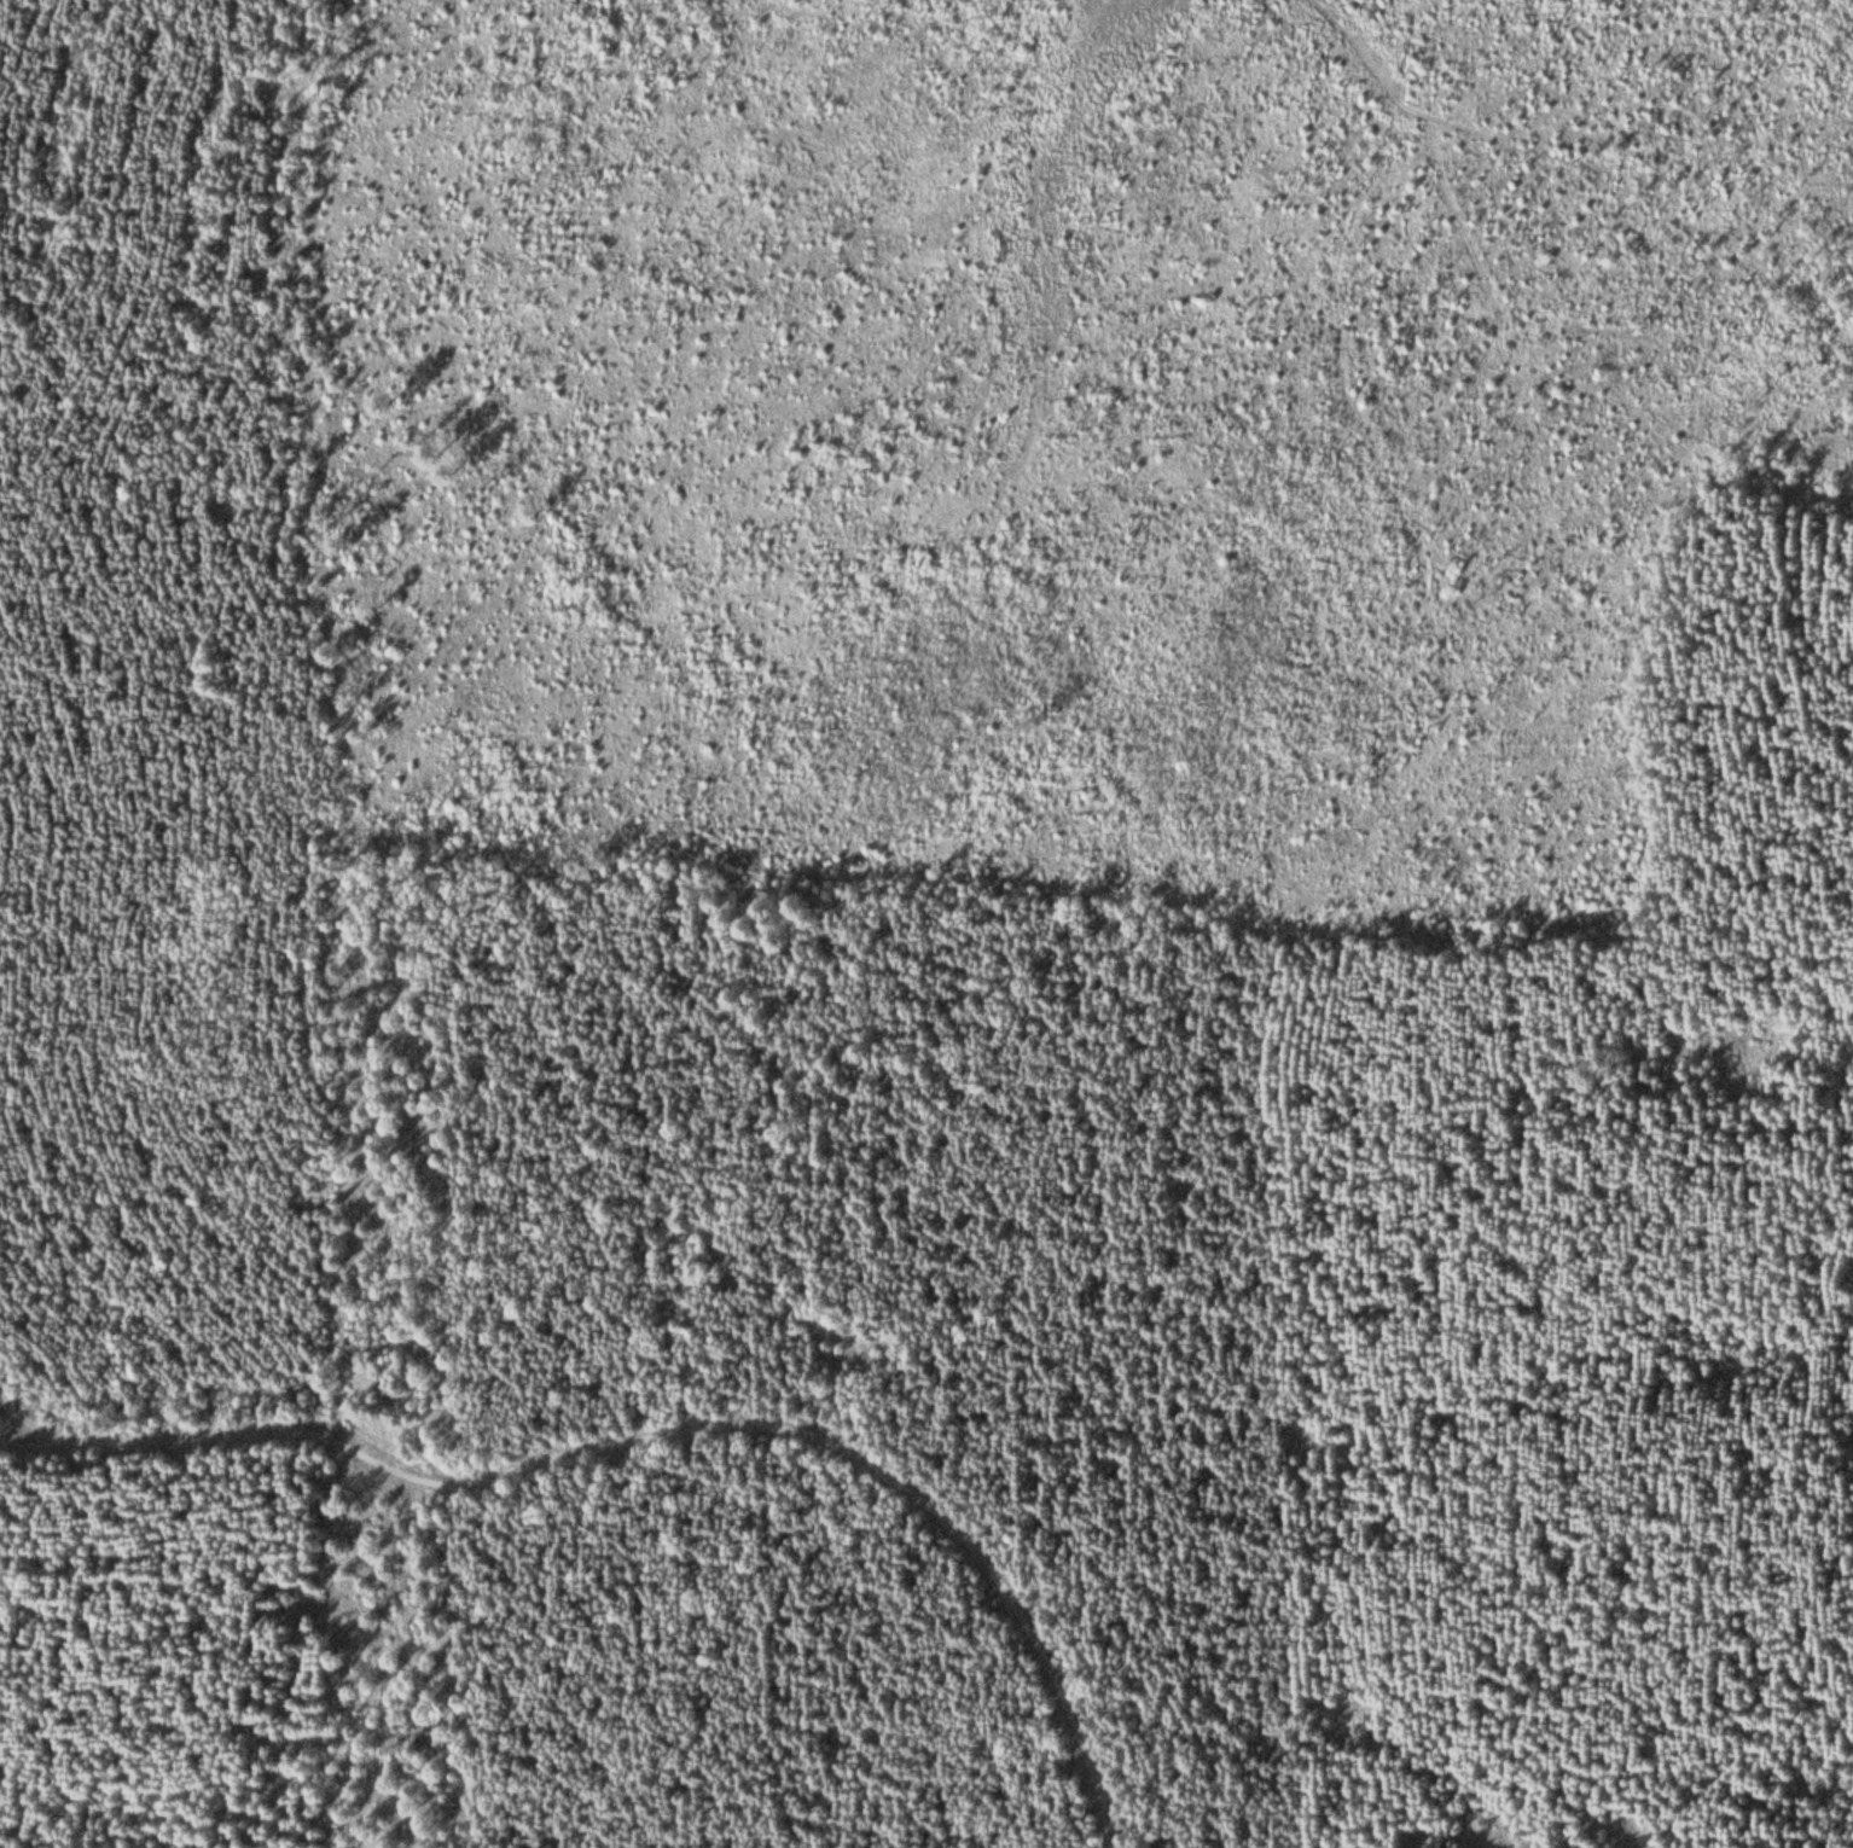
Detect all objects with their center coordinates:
road: (51, 168)
road: (10, 1418)
road: (10, 1433)
road: (681, 1435)

